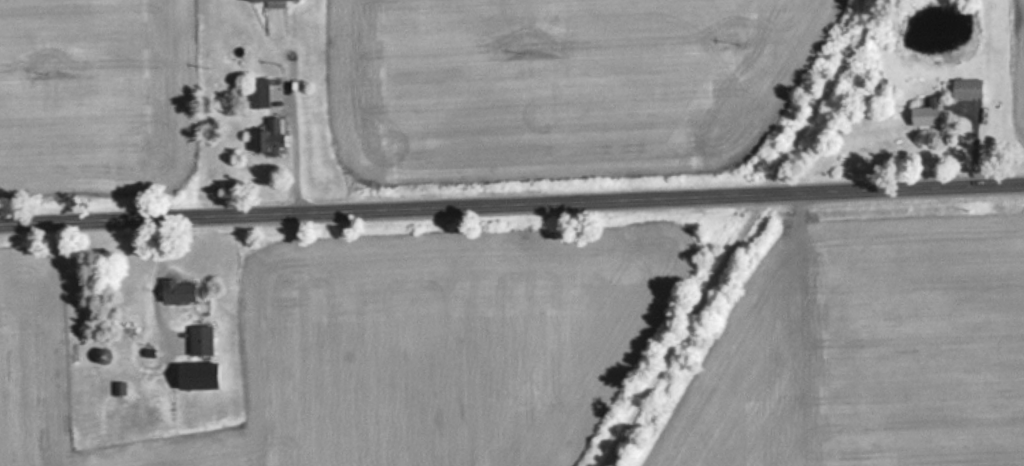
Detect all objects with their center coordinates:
building: (261, 0)
building: (964, 87)
building: (257, 92)
building: (924, 112)
building: (269, 136)
road: (512, 202)
road: (741, 233)
building: (177, 290)
building: (200, 340)
building: (196, 375)
building: (128, 403)

